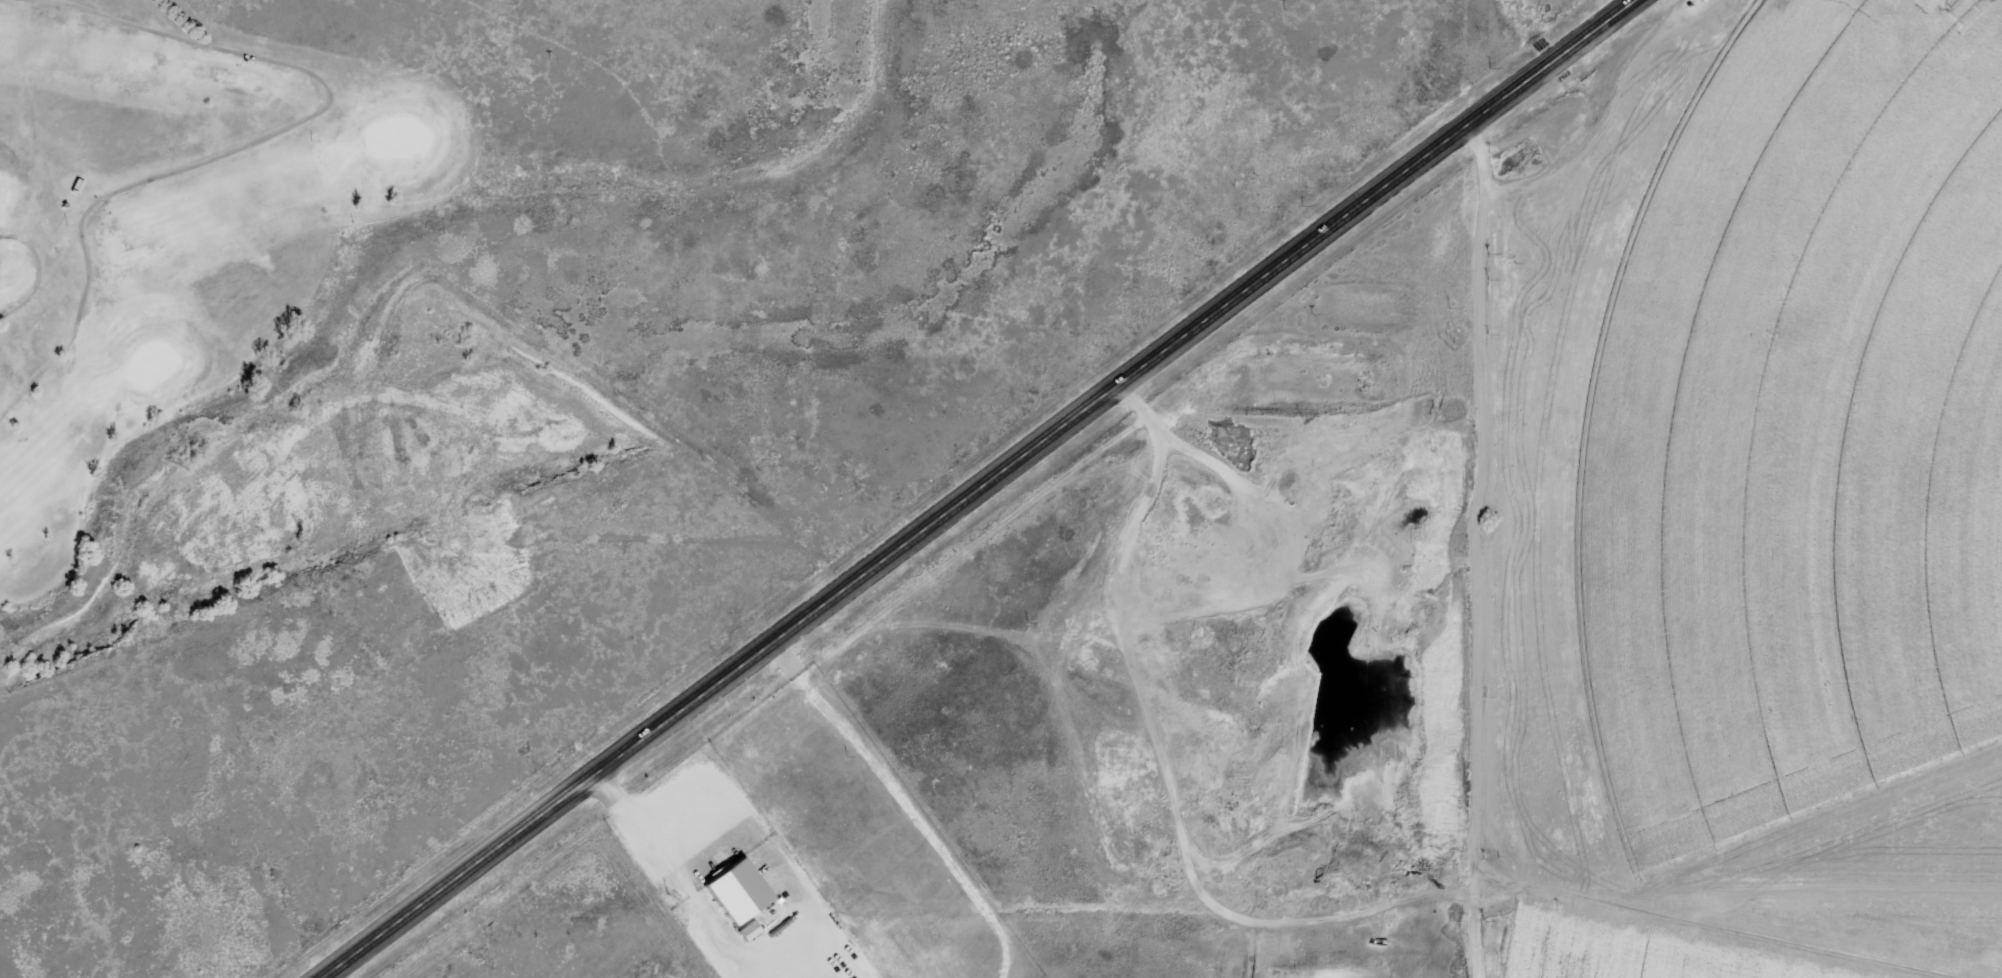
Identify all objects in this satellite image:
park: (216, 265)
road: (981, 489)
building: (735, 890)

